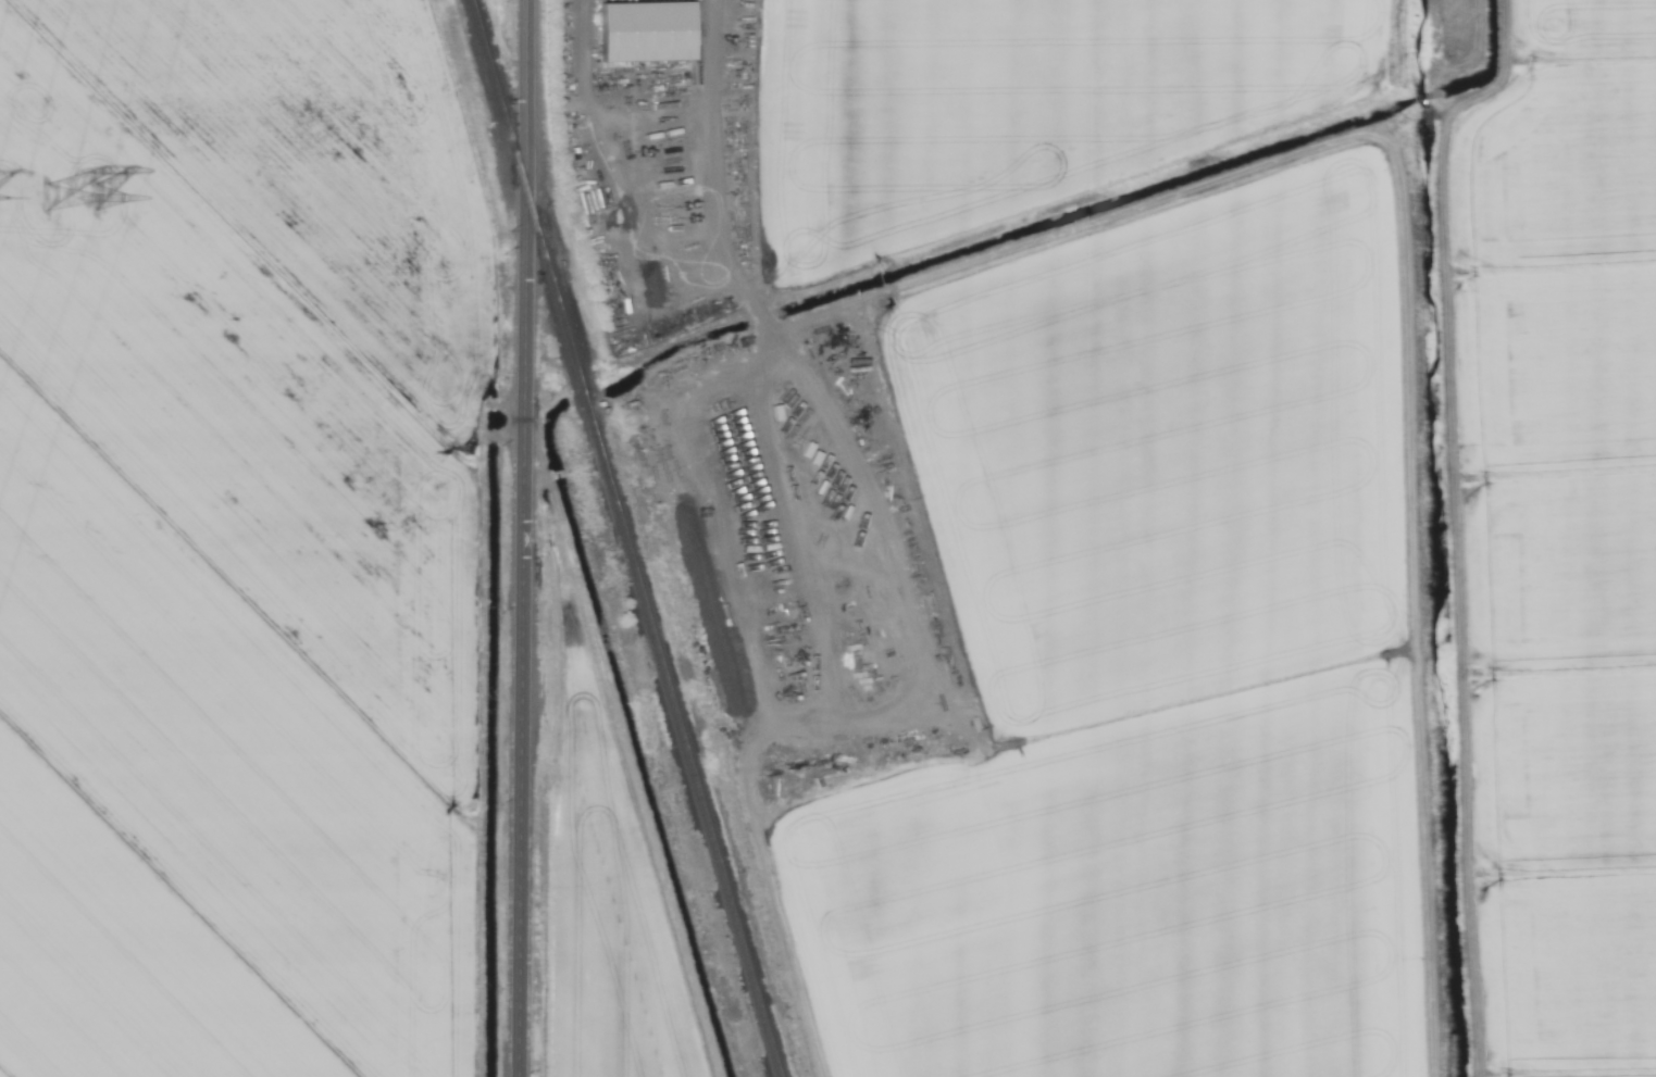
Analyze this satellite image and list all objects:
building: (643, 33)
power tower: (80, 223)
road: (528, 538)
railway: (622, 538)

